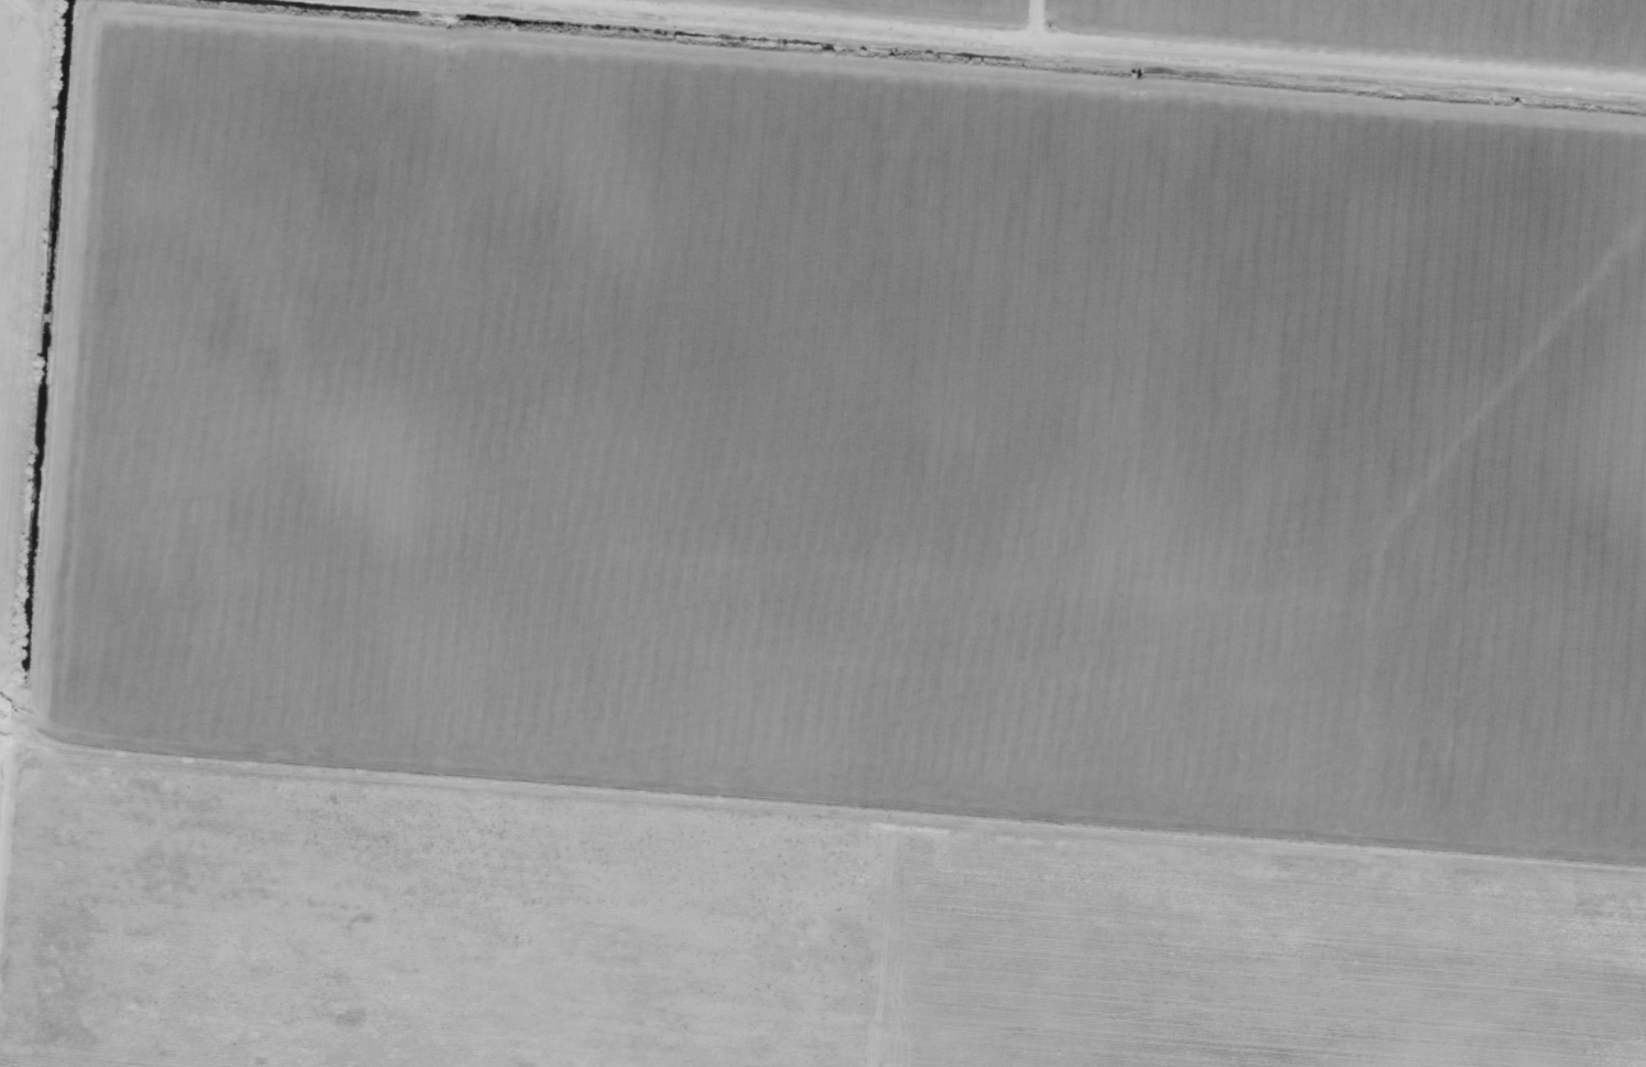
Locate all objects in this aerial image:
road: (725, 805)

